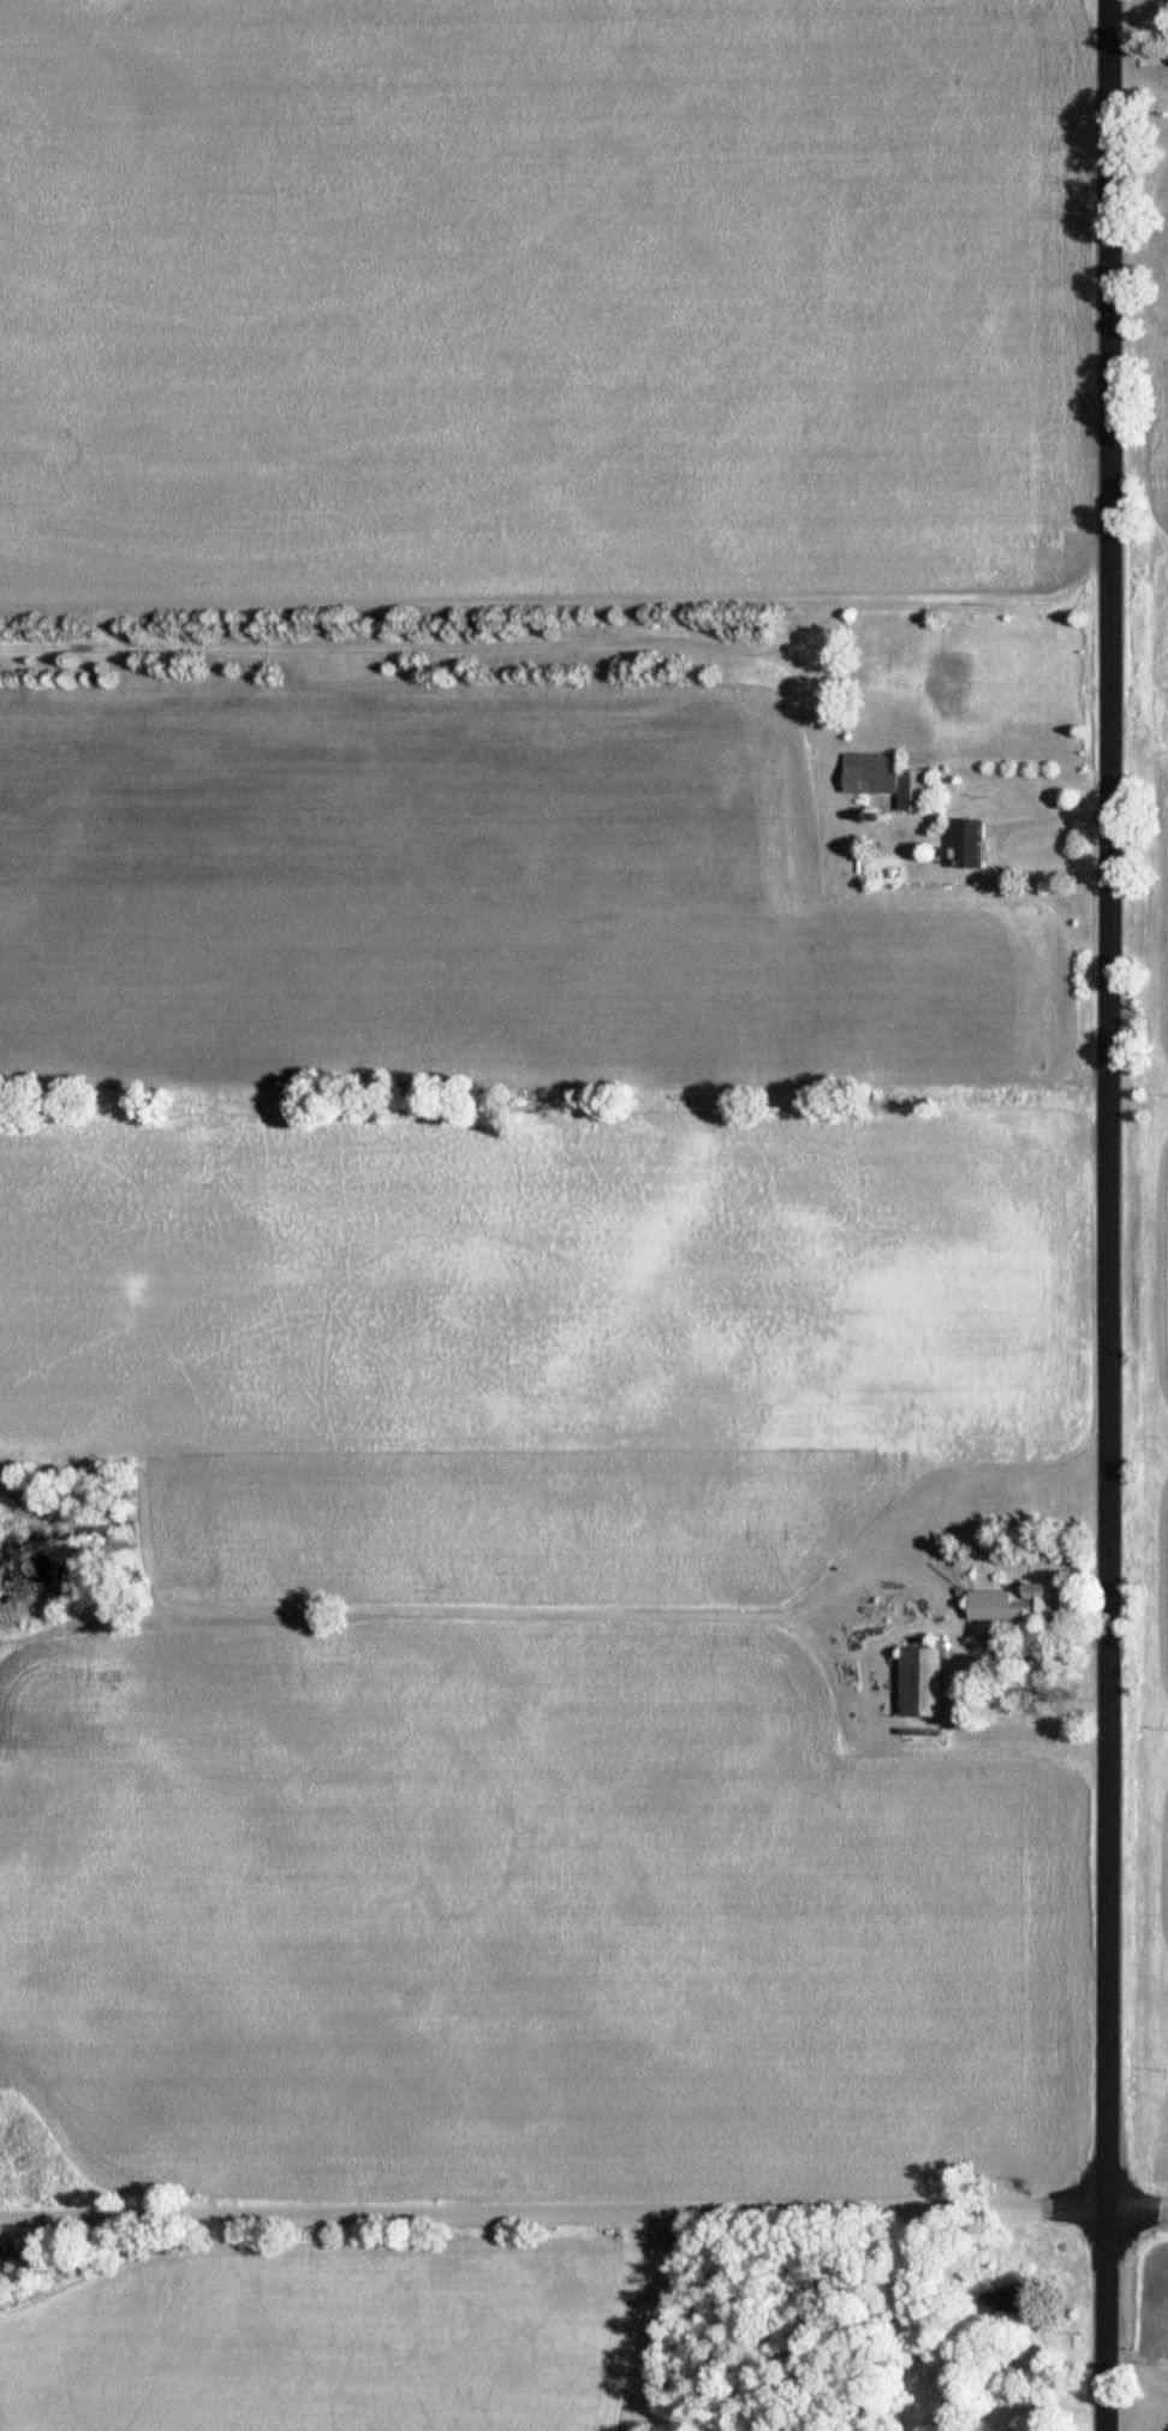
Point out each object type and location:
building: (1161, 5)
building: (887, 780)
road: (1002, 839)
building: (971, 844)
road: (1109, 1215)
building: (1011, 1605)
building: (920, 1681)
road: (584, 2212)
building: (1018, 2299)

